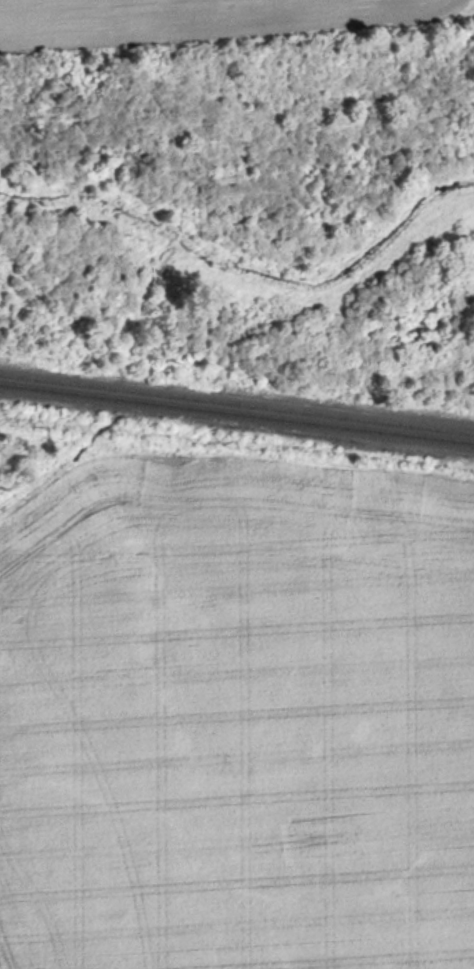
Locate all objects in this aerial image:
river: (150, 234)
railway: (237, 405)
railway: (237, 414)

